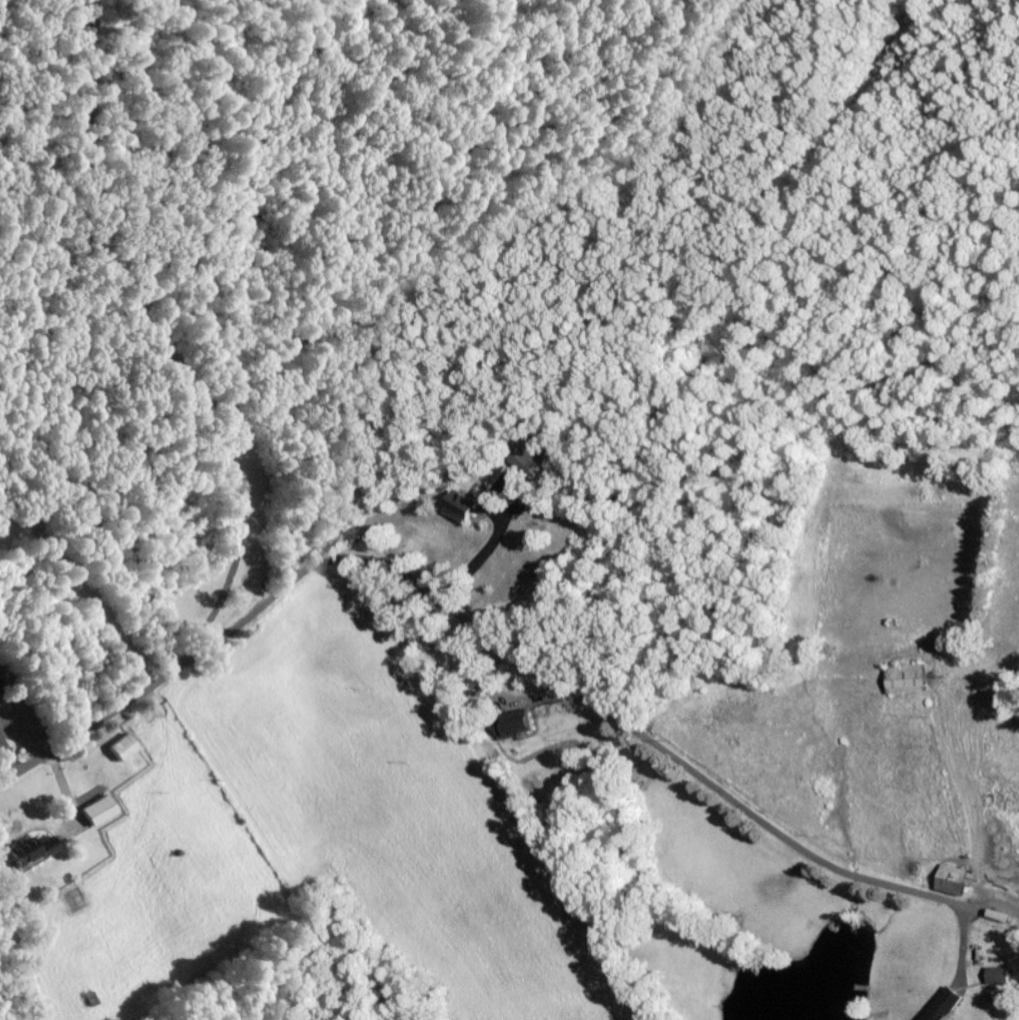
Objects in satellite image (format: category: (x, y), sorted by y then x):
road: (722, 342)
building: (524, 463)
building: (516, 495)
building: (459, 509)
road: (484, 634)
building: (905, 682)
building: (506, 730)
building: (121, 750)
building: (96, 812)
building: (30, 852)
building: (950, 882)
building: (997, 977)
building: (943, 1007)

